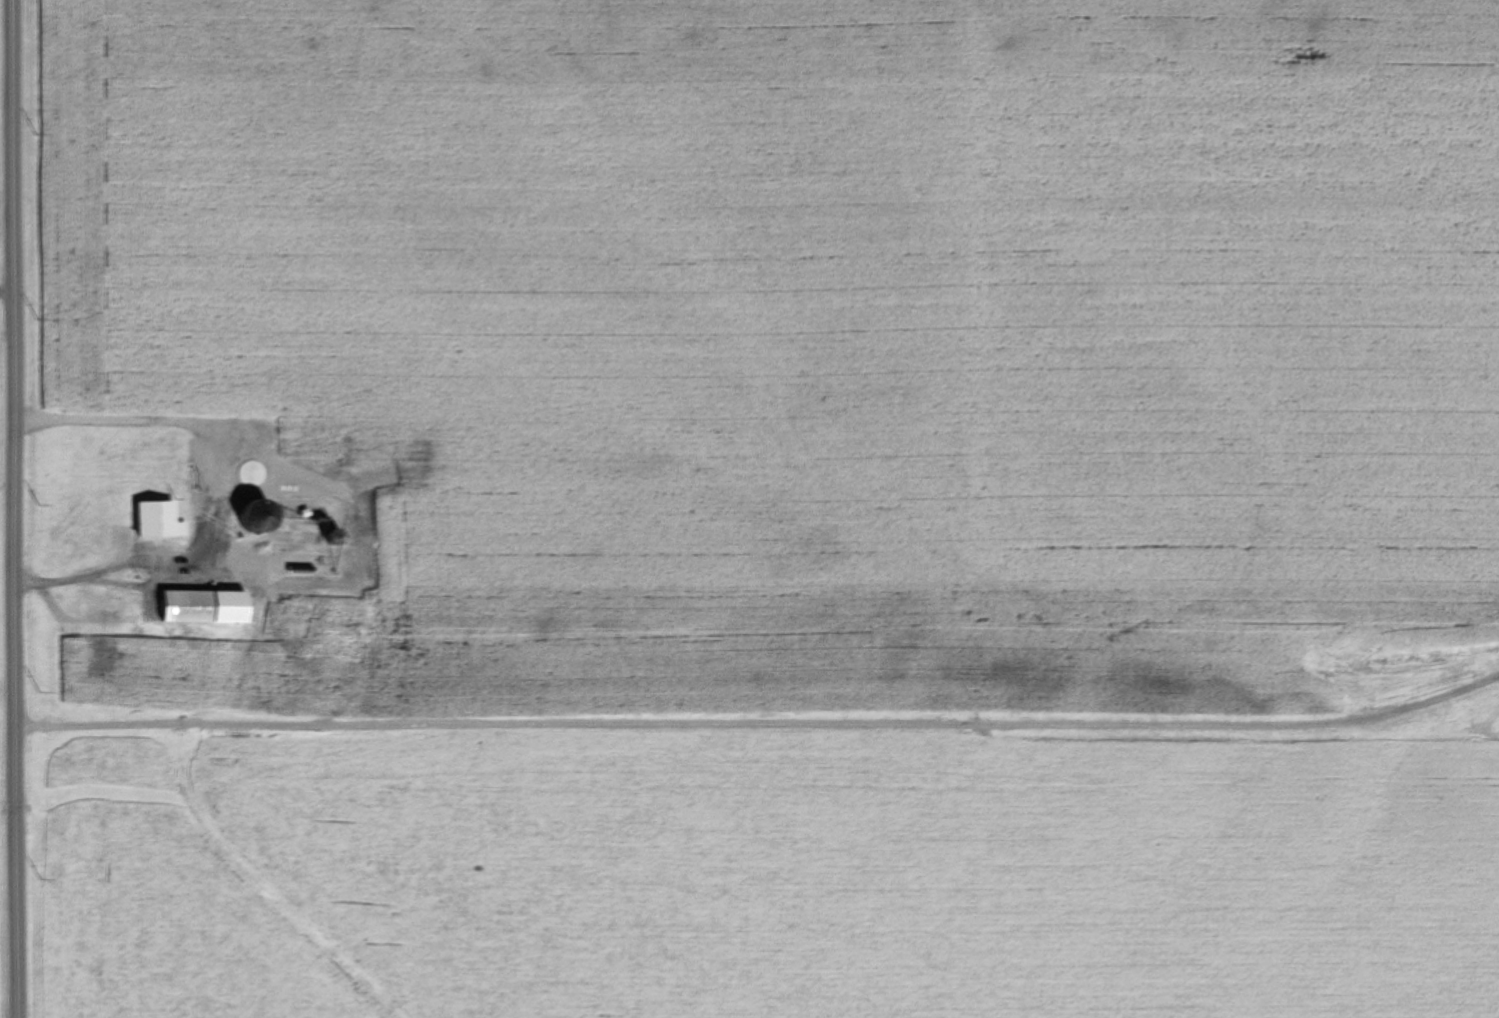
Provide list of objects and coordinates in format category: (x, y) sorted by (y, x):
building: (226, 459)
road: (6, 509)
building: (160, 520)
building: (295, 605)
building: (204, 606)
building: (101, 648)
building: (260, 654)

